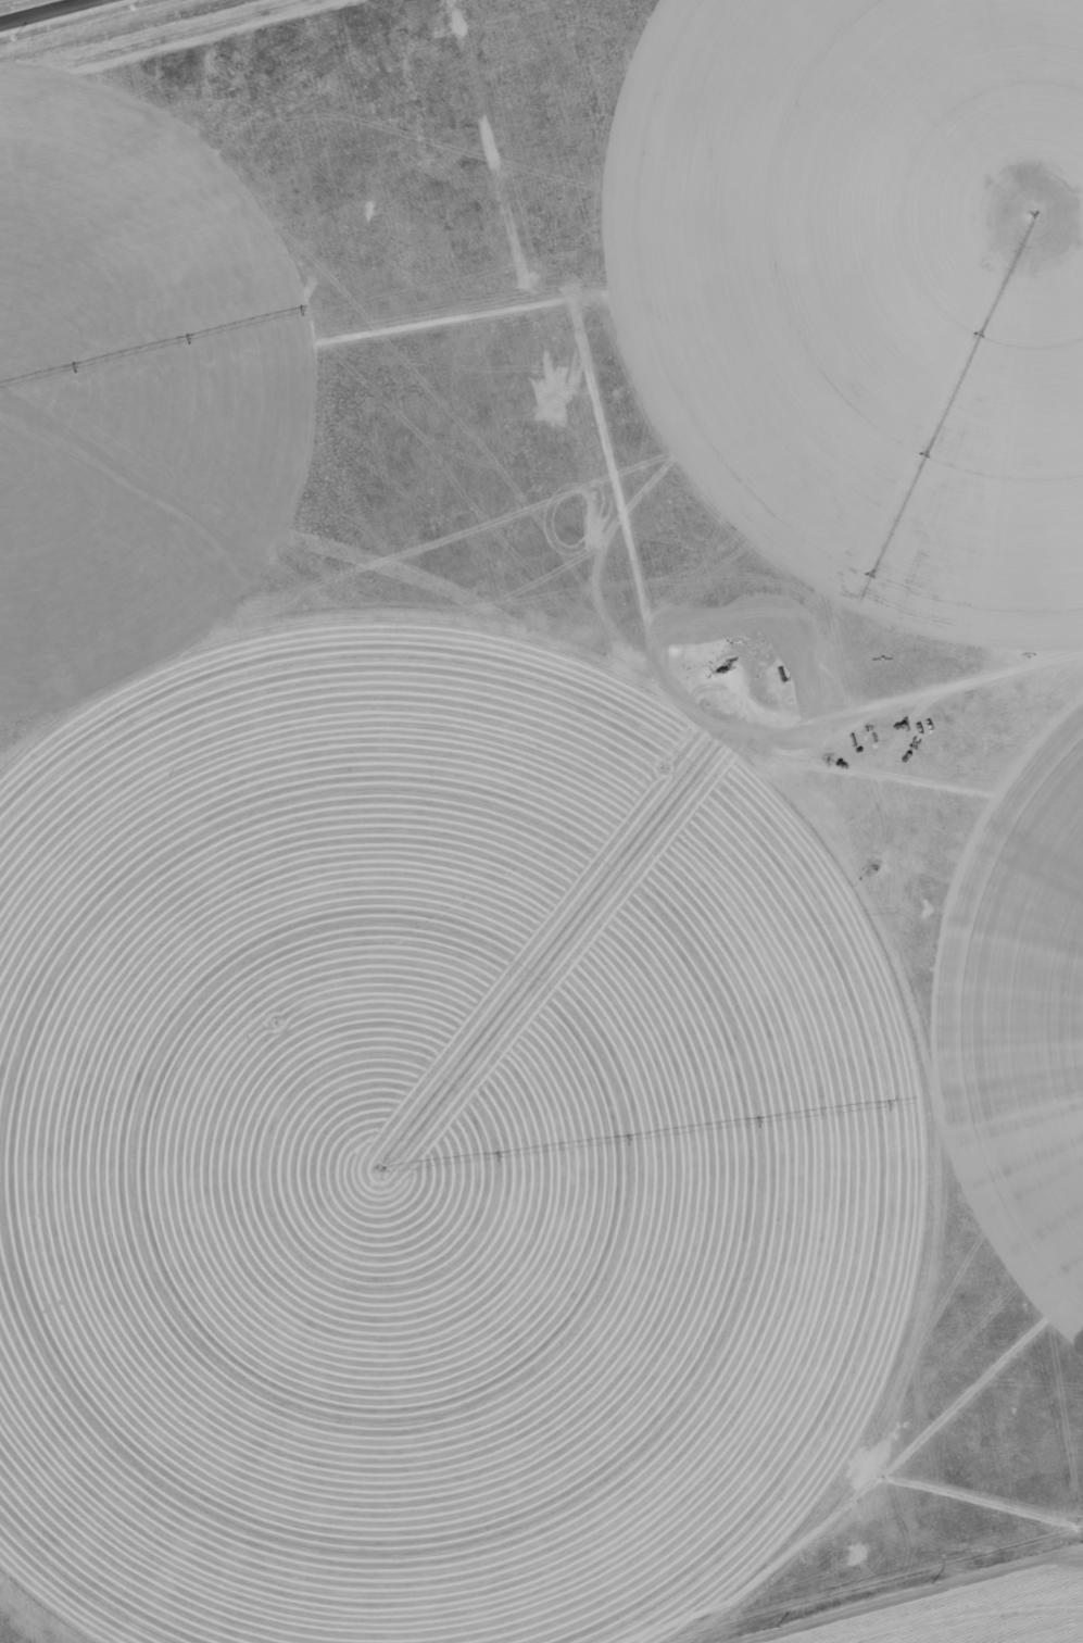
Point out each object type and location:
road: (54, 14)
petroleum well: (722, 673)

